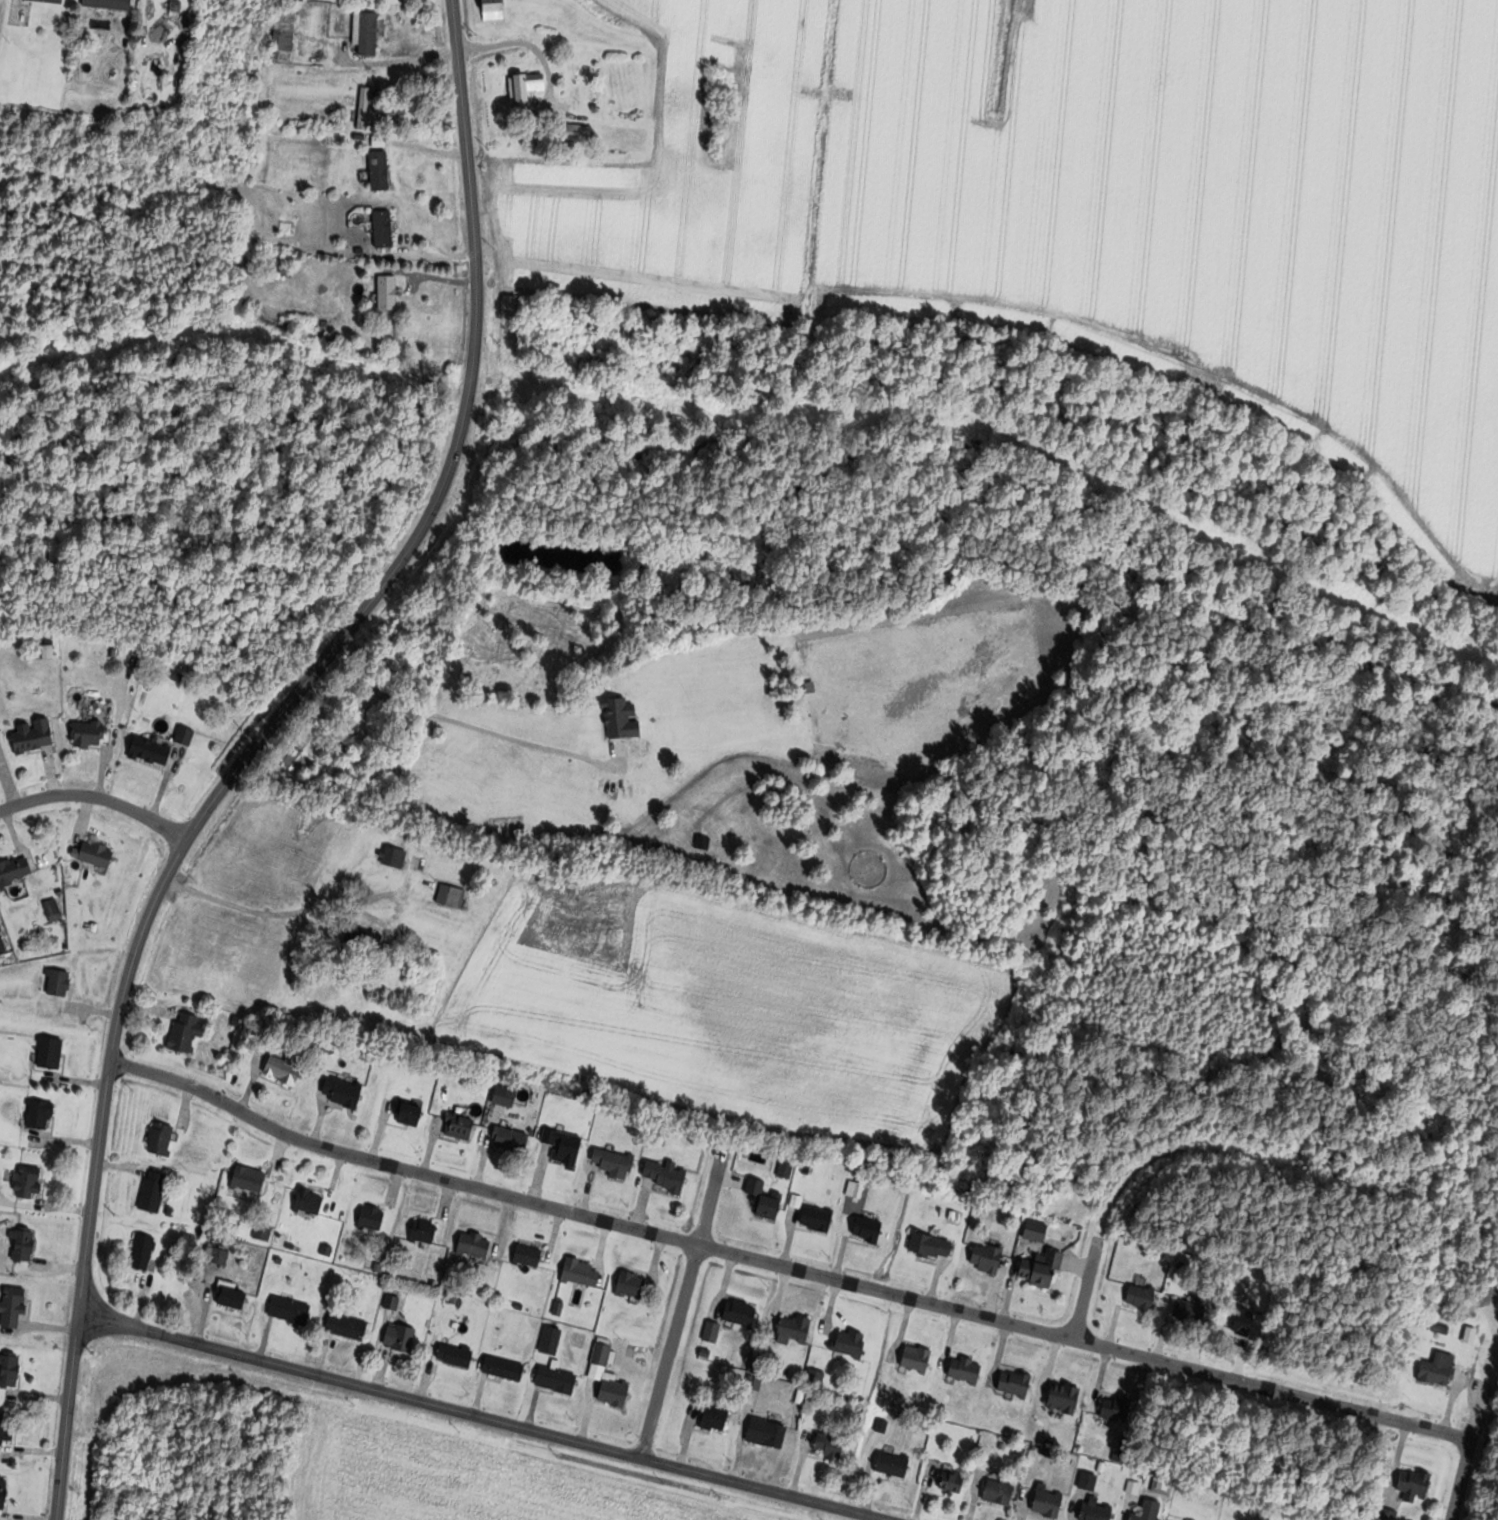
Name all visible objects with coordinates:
building: (45, 0)
building: (308, 0)
building: (110, 4)
building: (495, 9)
building: (285, 32)
building: (368, 32)
road: (520, 43)
building: (218, 86)
building: (527, 86)
building: (365, 107)
building: (399, 113)
building: (583, 133)
building: (385, 229)
building: (389, 293)
road: (221, 473)
building: (90, 732)
building: (186, 733)
building: (36, 735)
road: (257, 746)
building: (152, 749)
building: (344, 751)
building: (303, 764)
road: (98, 797)
building: (98, 853)
building: (395, 855)
building: (16, 868)
building: (452, 895)
building: (54, 909)
road: (285, 912)
building: (59, 981)
building: (187, 1031)
building: (51, 1052)
building: (284, 1069)
building: (344, 1091)
building: (507, 1095)
building: (410, 1113)
building: (41, 1114)
building: (462, 1126)
building: (162, 1138)
building: (512, 1139)
building: (566, 1146)
building: (616, 1162)
building: (788, 1167)
building: (251, 1178)
building: (673, 1178)
building: (30, 1180)
building: (154, 1190)
building: (766, 1199)
building: (311, 1201)
building: (373, 1217)
building: (819, 1217)
building: (870, 1228)
building: (425, 1230)
building: (476, 1243)
building: (932, 1243)
building: (24, 1244)
building: (144, 1251)
building: (529, 1254)
building: (221, 1255)
building: (988, 1257)
building: (1044, 1268)
building: (582, 1271)
road: (780, 1274)
building: (633, 1283)
building: (232, 1296)
building: (1142, 1296)
building: (14, 1305)
building: (291, 1309)
building: (1190, 1310)
building: (742, 1312)
building: (348, 1325)
building: (1442, 1328)
building: (796, 1329)
building: (713, 1331)
building: (401, 1336)
building: (552, 1339)
building: (851, 1342)
building: (457, 1354)
road: (673, 1355)
building: (918, 1358)
building: (505, 1367)
building: (10, 1369)
building: (967, 1369)
building: (1439, 1370)
road: (1284, 1372)
building: (609, 1377)
building: (558, 1379)
building: (1016, 1383)
building: (1066, 1397)
building: (1119, 1408)
building: (716, 1417)
road: (479, 1418)
building: (6, 1428)
building: (769, 1432)
building: (831, 1445)
building: (894, 1464)
building: (1090, 1480)
building: (953, 1481)
building: (1417, 1482)
building: (1001, 1491)
building: (4, 1493)
building: (1049, 1501)
building: (1099, 1510)
building: (1152, 1510)

